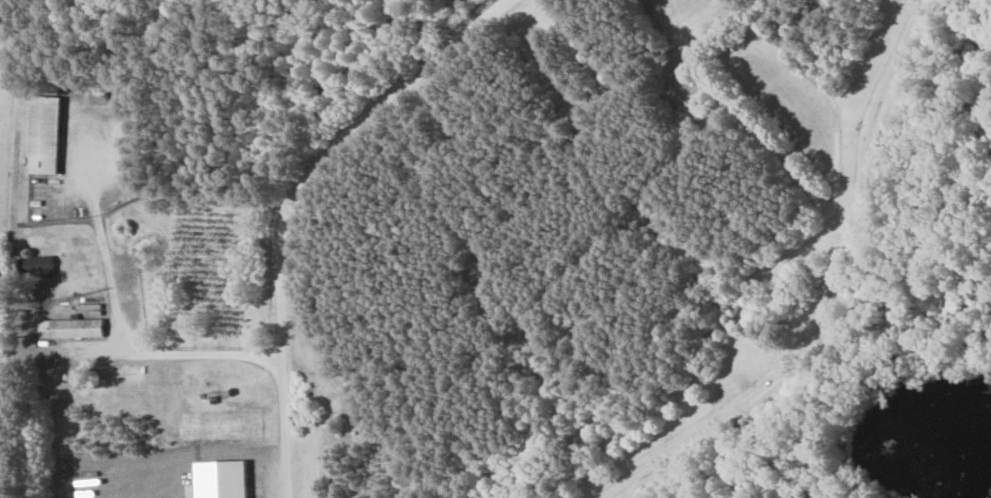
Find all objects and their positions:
building: (43, 134)
road: (89, 178)
road: (289, 200)
road: (837, 300)
building: (69, 328)
road: (135, 347)

